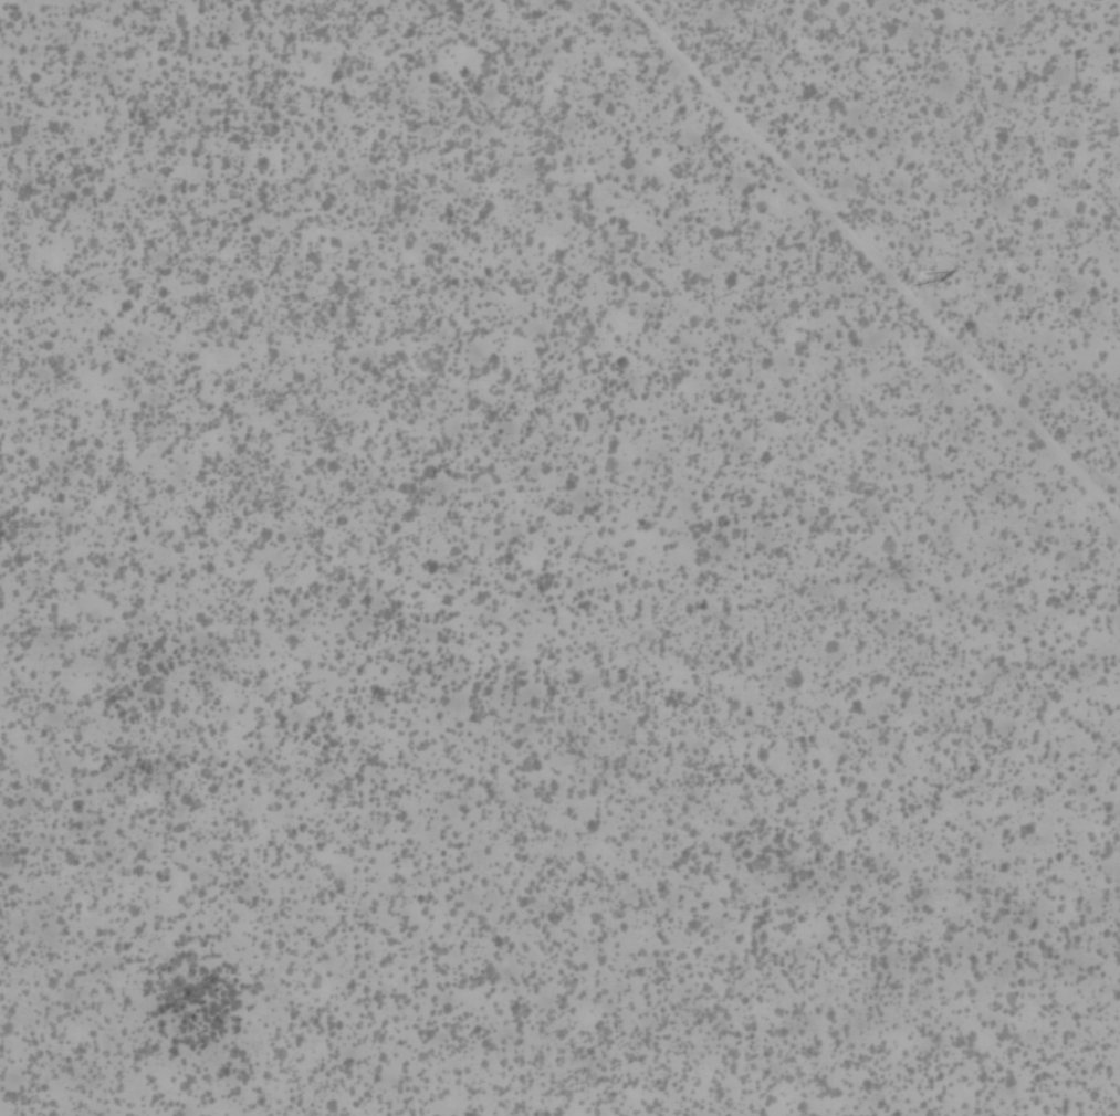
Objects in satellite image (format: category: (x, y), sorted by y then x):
road: (873, 263)
power tower: (917, 278)

